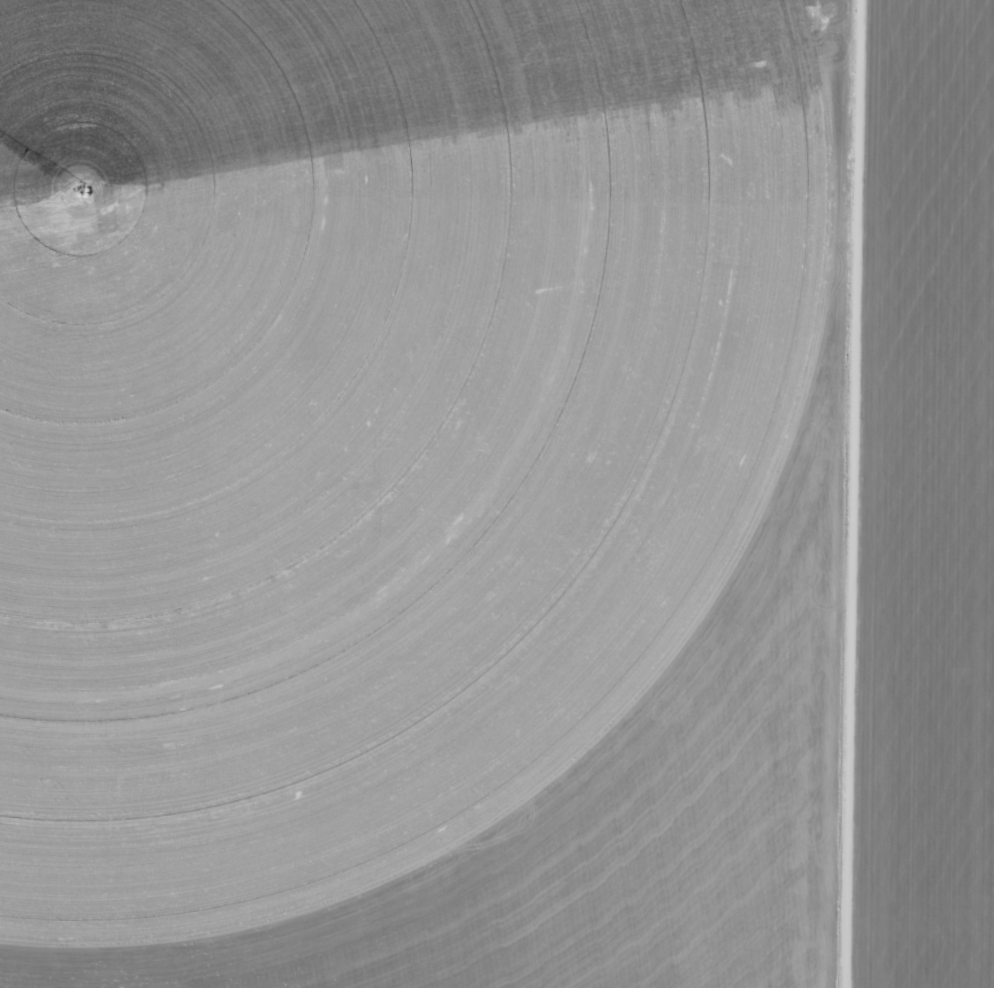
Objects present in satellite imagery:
road: (829, 494)

